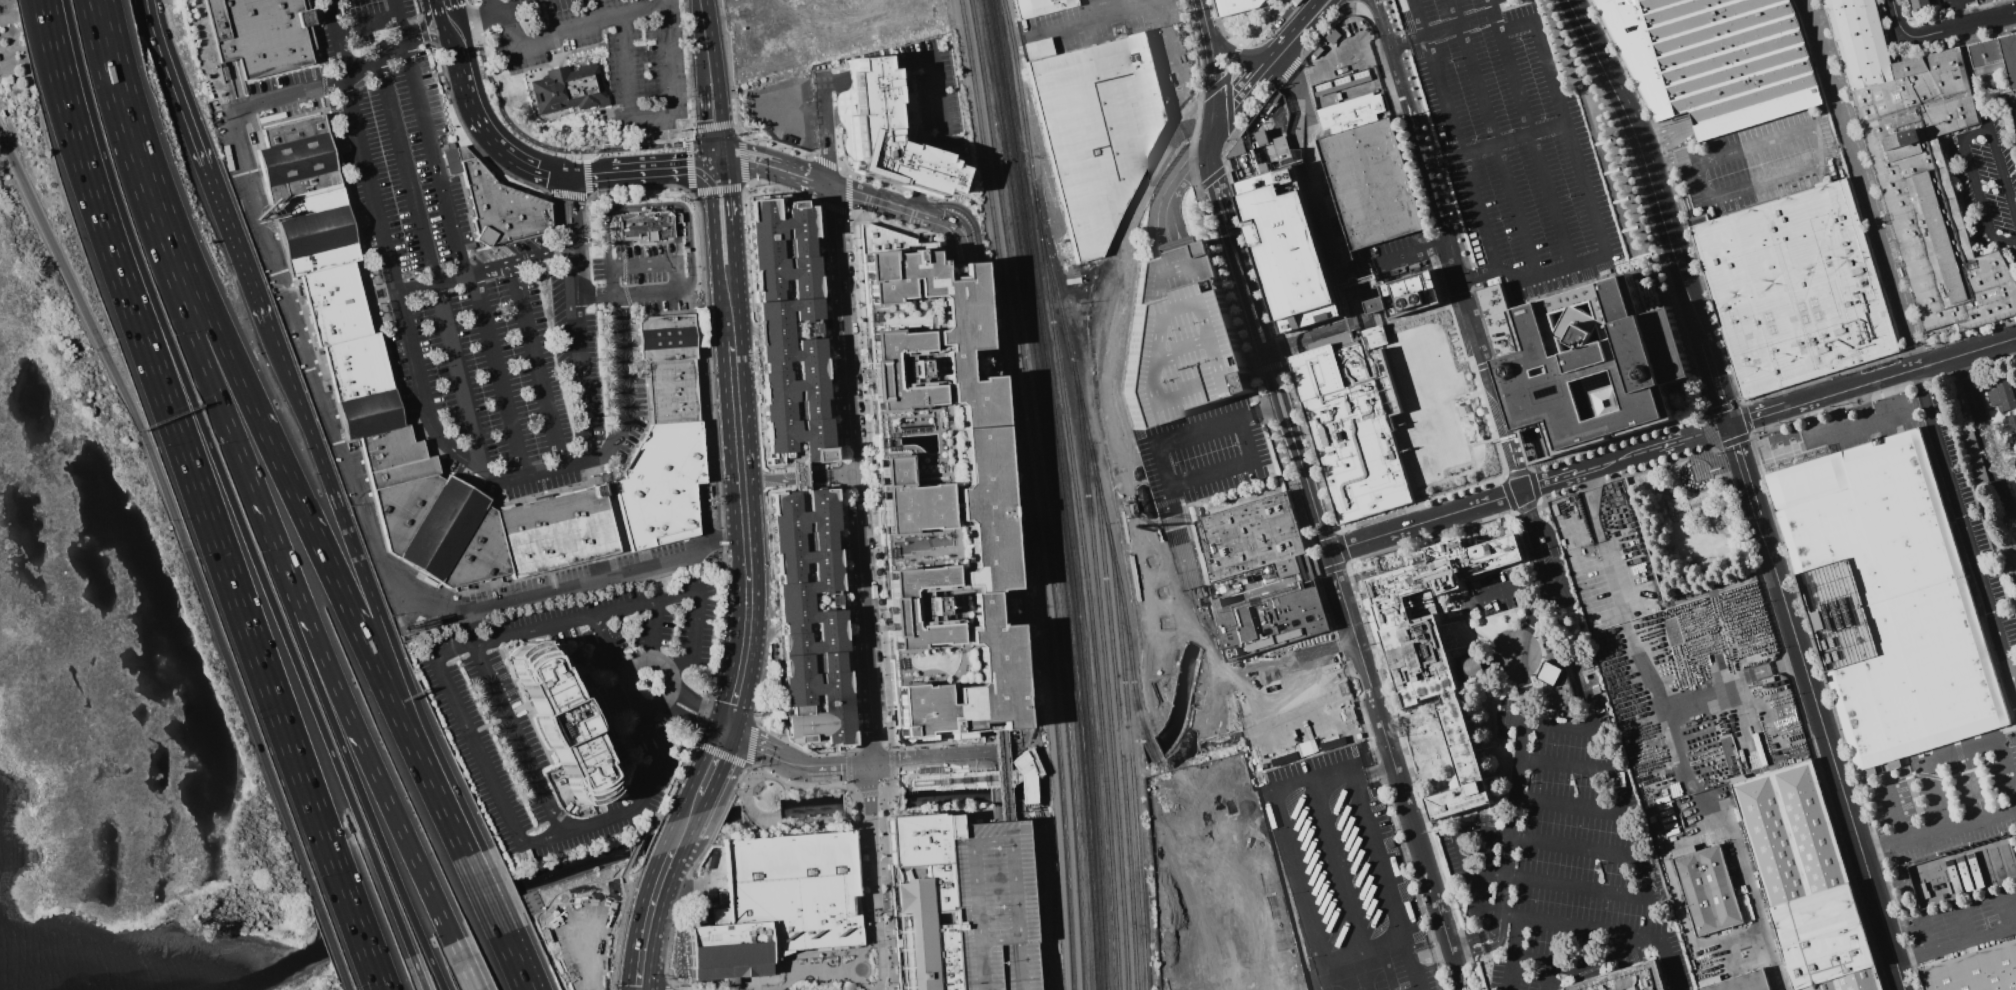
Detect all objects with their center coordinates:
road: (1349, 1)
road: (519, 4)
building: (1920, 5)
road: (394, 6)
road: (491, 6)
building: (1240, 6)
building: (1040, 7)
road: (40, 10)
road: (500, 10)
road: (646, 11)
road: (448, 12)
road: (1310, 15)
road: (1955, 15)
road: (472, 19)
road: (1085, 19)
road: (1207, 20)
road: (42, 22)
road: (45, 22)
road: (366, 22)
road: (1380, 22)
road: (423, 23)
road: (1894, 23)
road: (399, 25)
road: (1957, 31)
road: (704, 32)
building: (261, 33)
road: (1422, 35)
road: (338, 37)
road: (434, 38)
road: (455, 41)
road: (1287, 41)
road: (105, 43)
road: (389, 46)
building: (1996, 54)
road: (1243, 55)
building: (1715, 60)
road: (626, 61)
parking lot: (646, 65)
road: (359, 67)
road: (58, 72)
road: (870, 72)
road: (1398, 80)
road: (236, 84)
road: (935, 85)
building: (569, 89)
road: (1244, 91)
road: (474, 109)
road: (712, 114)
road: (1306, 115)
road: (825, 121)
building: (886, 130)
building: (1096, 130)
road: (1635, 131)
building: (1676, 132)
road: (1960, 137)
road: (1493, 139)
road: (1570, 139)
road: (1494, 143)
road: (547, 145)
parking lot: (1511, 145)
road: (1461, 152)
building: (1366, 155)
road: (433, 156)
road: (1672, 158)
road: (203, 162)
road: (585, 162)
parking lot: (1761, 162)
road: (1822, 162)
traffic signals: (717, 163)
road: (764, 165)
road: (536, 166)
road: (663, 166)
building: (1920, 167)
road: (926, 171)
road: (590, 172)
traffic signals: (570, 173)
road: (1861, 184)
road: (1173, 187)
road: (1545, 191)
road: (720, 193)
road: (869, 194)
road: (915, 200)
building: (497, 202)
road: (664, 205)
road: (149, 213)
road: (365, 219)
building: (645, 225)
road: (1227, 226)
road: (958, 227)
road: (944, 234)
road: (106, 235)
road: (182, 247)
road: (1449, 250)
building: (1298, 253)
road: (1414, 254)
road: (430, 261)
road: (671, 262)
road: (980, 268)
road: (485, 269)
parking lot: (453, 271)
parking lot: (652, 274)
road: (726, 283)
building: (1794, 288)
building: (1407, 294)
road: (1691, 306)
road: (1116, 307)
road: (578, 316)
building: (787, 329)
building: (1180, 338)
parking garage: (1180, 338)
building: (1598, 363)
road: (537, 365)
road: (1096, 367)
road: (498, 375)
road: (1871, 381)
road: (1714, 383)
building: (363, 387)
road: (735, 393)
building: (2002, 394)
road: (1262, 410)
road: (1888, 417)
building: (1357, 423)
road: (1855, 427)
building: (2009, 429)
road: (1507, 438)
road: (1990, 438)
building: (666, 441)
road: (449, 446)
road: (1115, 449)
building: (1973, 454)
road: (345, 463)
building: (2015, 463)
building: (2015, 465)
road: (1231, 466)
road: (323, 468)
road: (1741, 469)
road: (1161, 470)
road: (852, 474)
road: (1948, 476)
road: (1305, 479)
road: (800, 480)
road: (1527, 489)
building: (938, 490)
railway: (1030, 493)
railway: (1044, 493)
railway: (1057, 493)
railway: (1066, 493)
railway: (1078, 493)
road: (305, 515)
road: (616, 515)
road: (734, 522)
road: (753, 522)
railway: (1109, 524)
park: (1690, 525)
road: (1550, 536)
road: (1532, 537)
building: (2013, 541)
road: (275, 542)
road: (188, 556)
road: (1157, 573)
building: (1257, 575)
railway: (1099, 586)
road: (1508, 589)
building: (1887, 599)
road: (1535, 608)
building: (808, 617)
road: (529, 631)
road: (654, 631)
road: (1497, 634)
road: (745, 640)
road: (1999, 640)
road: (611, 646)
building: (1438, 649)
road: (294, 657)
road: (1188, 662)
road: (262, 666)
road: (310, 667)
building: (1473, 667)
road: (1279, 670)
road: (1021, 672)
road: (625, 675)
road: (1734, 680)
building: (1557, 684)
road: (1522, 701)
road: (697, 704)
road: (731, 704)
building: (571, 717)
railway: (1119, 717)
road: (688, 719)
parking lot: (489, 725)
road: (1093, 725)
traffic signals: (726, 727)
road: (1747, 728)
railway: (1146, 730)
road: (423, 734)
road: (410, 740)
road: (1675, 743)
road: (1954, 748)
road: (1828, 752)
railway: (1132, 756)
road: (712, 760)
road: (935, 760)
road: (792, 764)
road: (1009, 764)
road: (1586, 765)
road: (1396, 772)
road: (1001, 774)
road: (1000, 775)
road: (1005, 777)
road: (886, 782)
road: (1030, 794)
road: (1568, 804)
road: (692, 805)
road: (1896, 816)
road: (1938, 832)
road: (1527, 838)
road: (521, 840)
road: (406, 843)
parking lot: (1561, 860)
building: (1981, 867)
road: (1029, 876)
road: (872, 878)
building: (1805, 880)
road: (1577, 889)
building: (1707, 889)
road: (483, 894)
building: (721, 897)
road: (651, 900)
building: (922, 900)
building: (778, 904)
parking lot: (990, 906)
building: (990, 907)
road: (1469, 908)
building: (1232, 920)
road: (1036, 926)
road: (1963, 927)
road: (1579, 928)
road: (1730, 933)
road: (1515, 937)
road: (1926, 938)
road: (1955, 948)
road: (1594, 950)
road: (583, 957)
road: (513, 961)
road: (1546, 961)
road: (1666, 964)
road: (463, 966)
building: (1976, 971)
road: (418, 973)
road: (1509, 973)
road: (376, 976)
road: (377, 976)
building: (1626, 979)
building: (1742, 982)
road: (668, 986)

